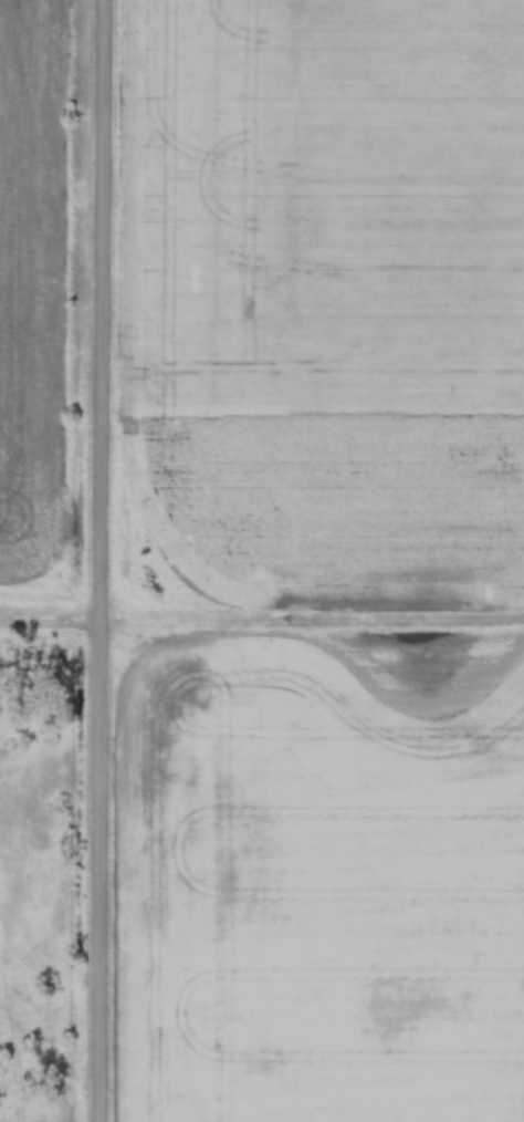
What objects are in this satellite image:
road: (90, 560)
road: (306, 633)

